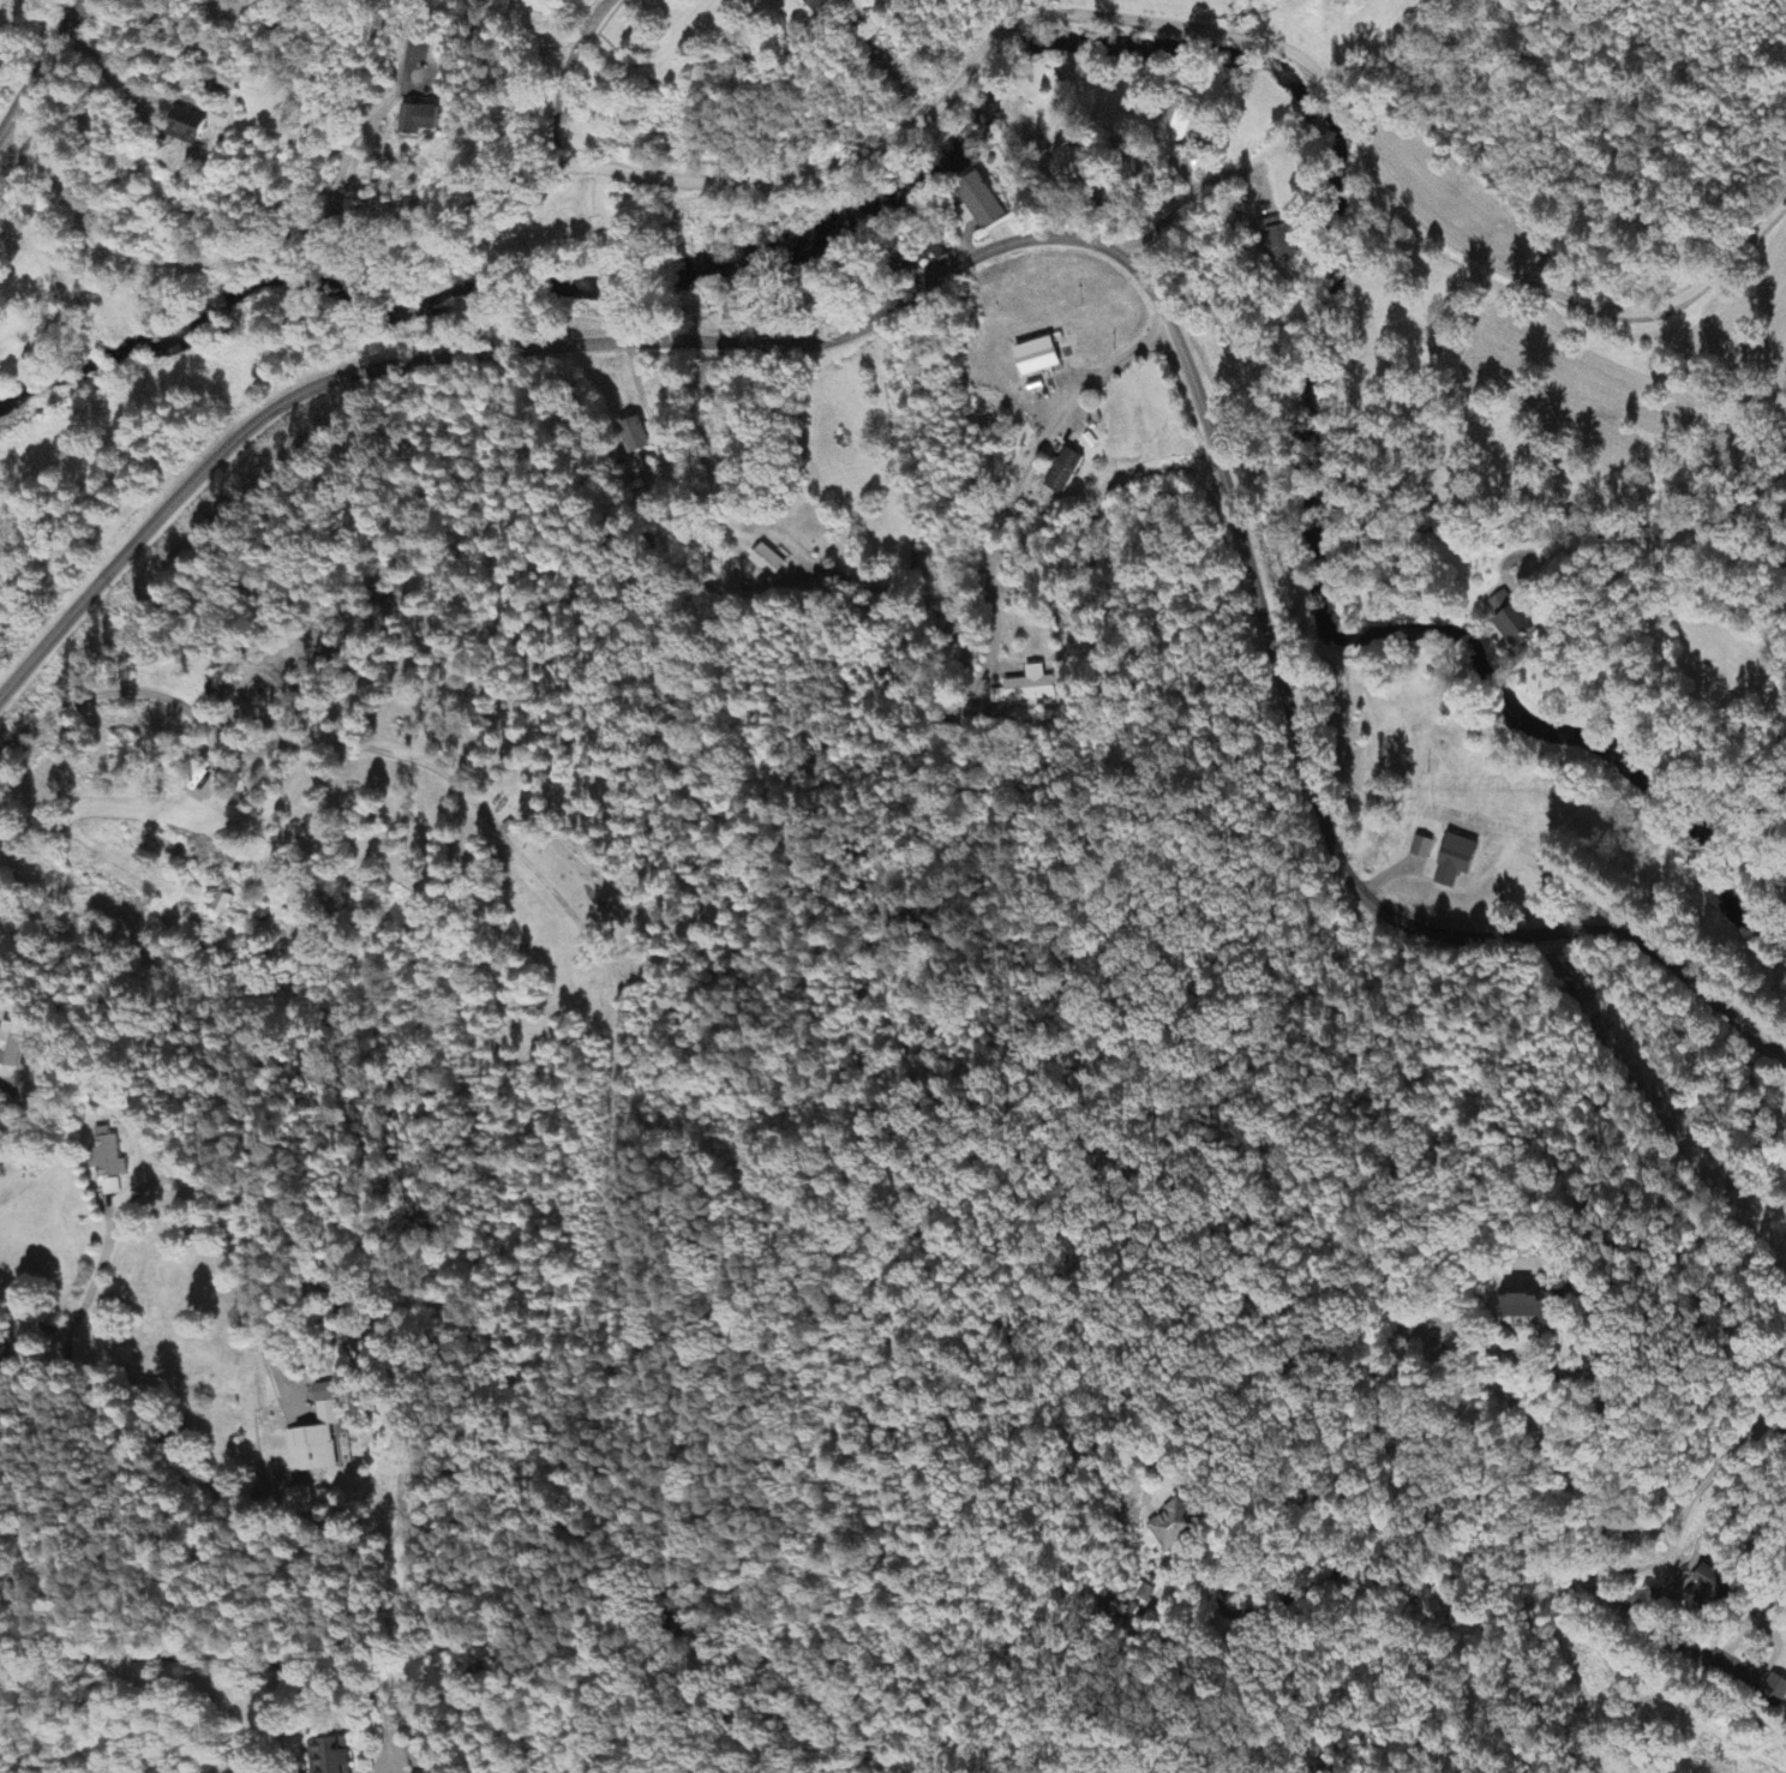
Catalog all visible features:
building: (816, 5)
road: (40, 66)
road: (933, 79)
building: (418, 119)
building: (185, 127)
building: (1173, 127)
dam: (924, 152)
building: (1067, 164)
building: (977, 202)
road: (1065, 236)
building: (1278, 240)
building: (1036, 358)
building: (633, 437)
building: (1063, 473)
building: (767, 562)
building: (1508, 617)
building: (1031, 687)
building: (997, 697)
building: (1421, 849)
building: (1455, 862)
building: (221, 905)
building: (10, 1044)
building: (104, 1157)
road: (176, 1178)
building: (109, 1188)
building: (1530, 1304)
building: (325, 1406)
building: (310, 1451)
road: (1559, 1463)
building: (1171, 1526)
building: (1775, 1690)
building: (328, 1756)
building: (414, 1757)

